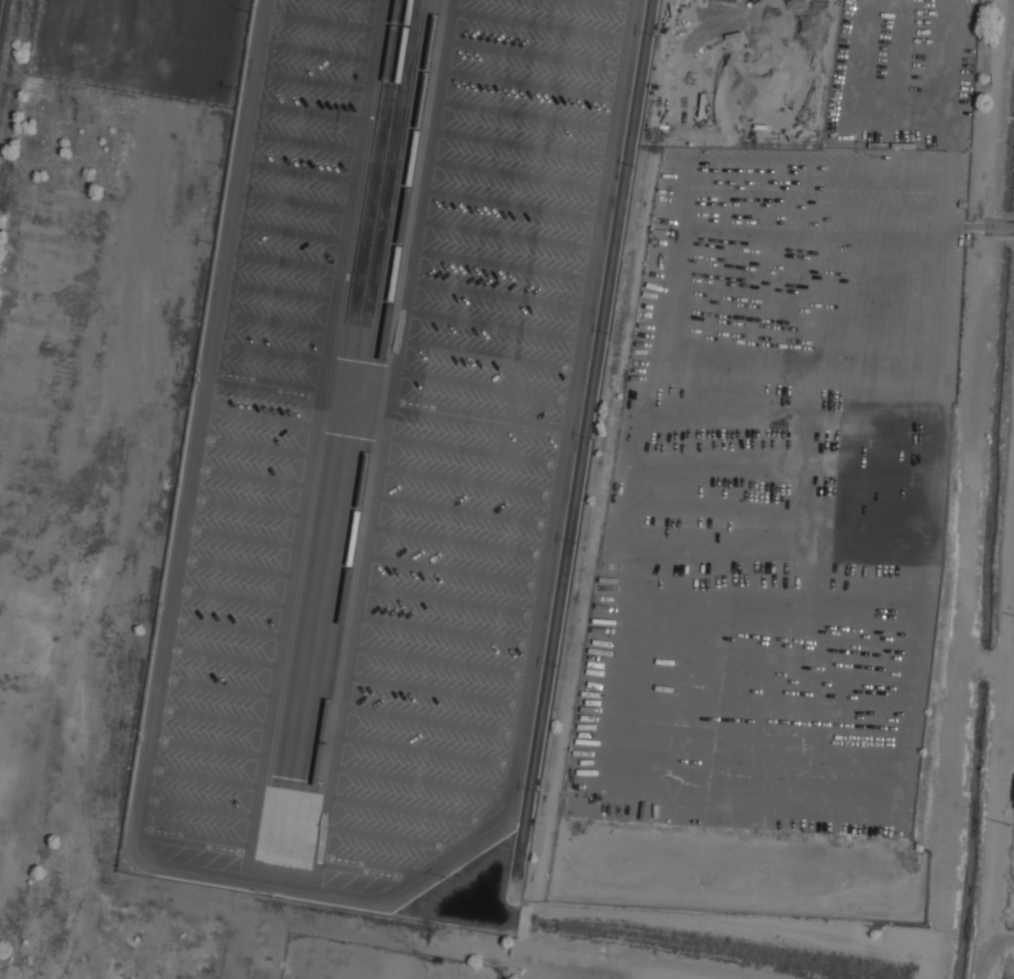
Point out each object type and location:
road: (604, 4)
railway: (1, 11)
road: (321, 22)
road: (539, 25)
road: (317, 51)
road: (535, 55)
road: (312, 81)
road: (530, 85)
road: (307, 112)
road: (525, 115)
road: (303, 141)
road: (520, 144)
road: (299, 171)
road: (516, 175)
road: (294, 201)
road: (511, 204)
road: (290, 232)
road: (507, 234)
road: (285, 261)
road: (502, 264)
road: (280, 291)
road: (497, 294)
road: (276, 321)
road: (492, 325)
road: (271, 352)
road: (487, 354)
road: (266, 384)
road: (482, 385)
railway: (336, 393)
railway: (349, 394)
railway: (362, 394)
railway: (375, 395)
road: (261, 417)
road: (477, 417)
parking lot: (259, 426)
parking lot: (475, 428)
road: (385, 429)
road: (313, 438)
railway: (587, 439)
road: (256, 447)
road: (472, 450)
road: (560, 460)
road: (251, 477)
road: (468, 481)
road: (246, 508)
road: (463, 510)
road: (242, 537)
road: (459, 540)
road: (181, 566)
road: (237, 567)
road: (454, 570)
road: (233, 597)
road: (449, 600)
road: (228, 627)
road: (444, 630)
road: (223, 657)
road: (439, 660)
road: (218, 688)
road: (435, 690)
road: (214, 716)
road: (430, 720)
road: (209, 748)
road: (425, 751)
road: (204, 777)
road: (420, 780)
road: (200, 807)
road: (409, 809)
road: (389, 836)
road: (195, 840)
road: (366, 867)
road: (317, 874)

